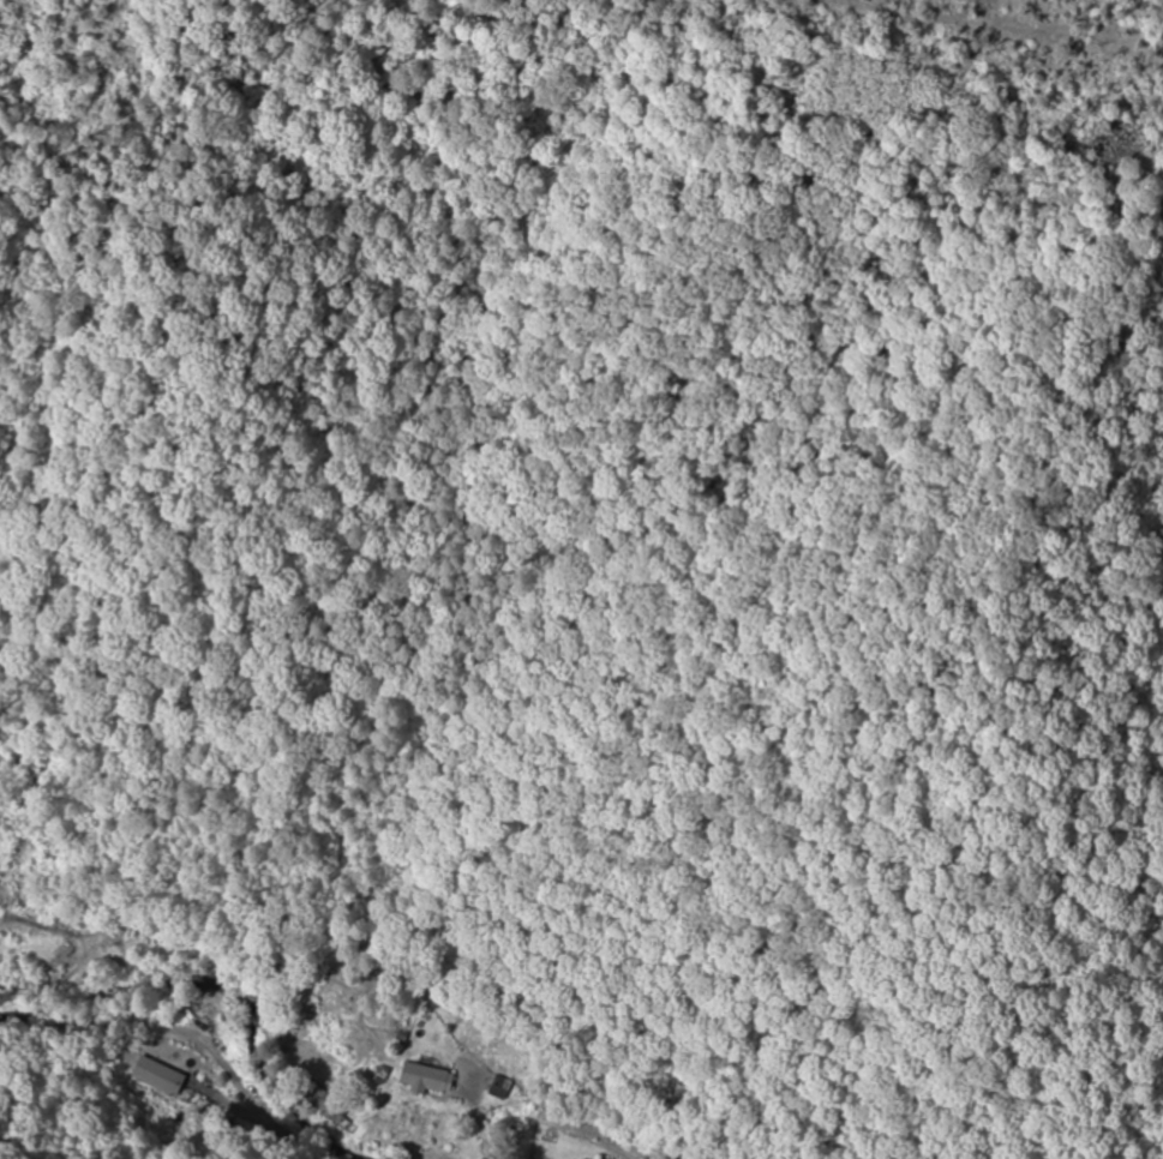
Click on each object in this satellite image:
building: (156, 1076)
building: (424, 1077)
building: (498, 1087)
road: (188, 1092)

